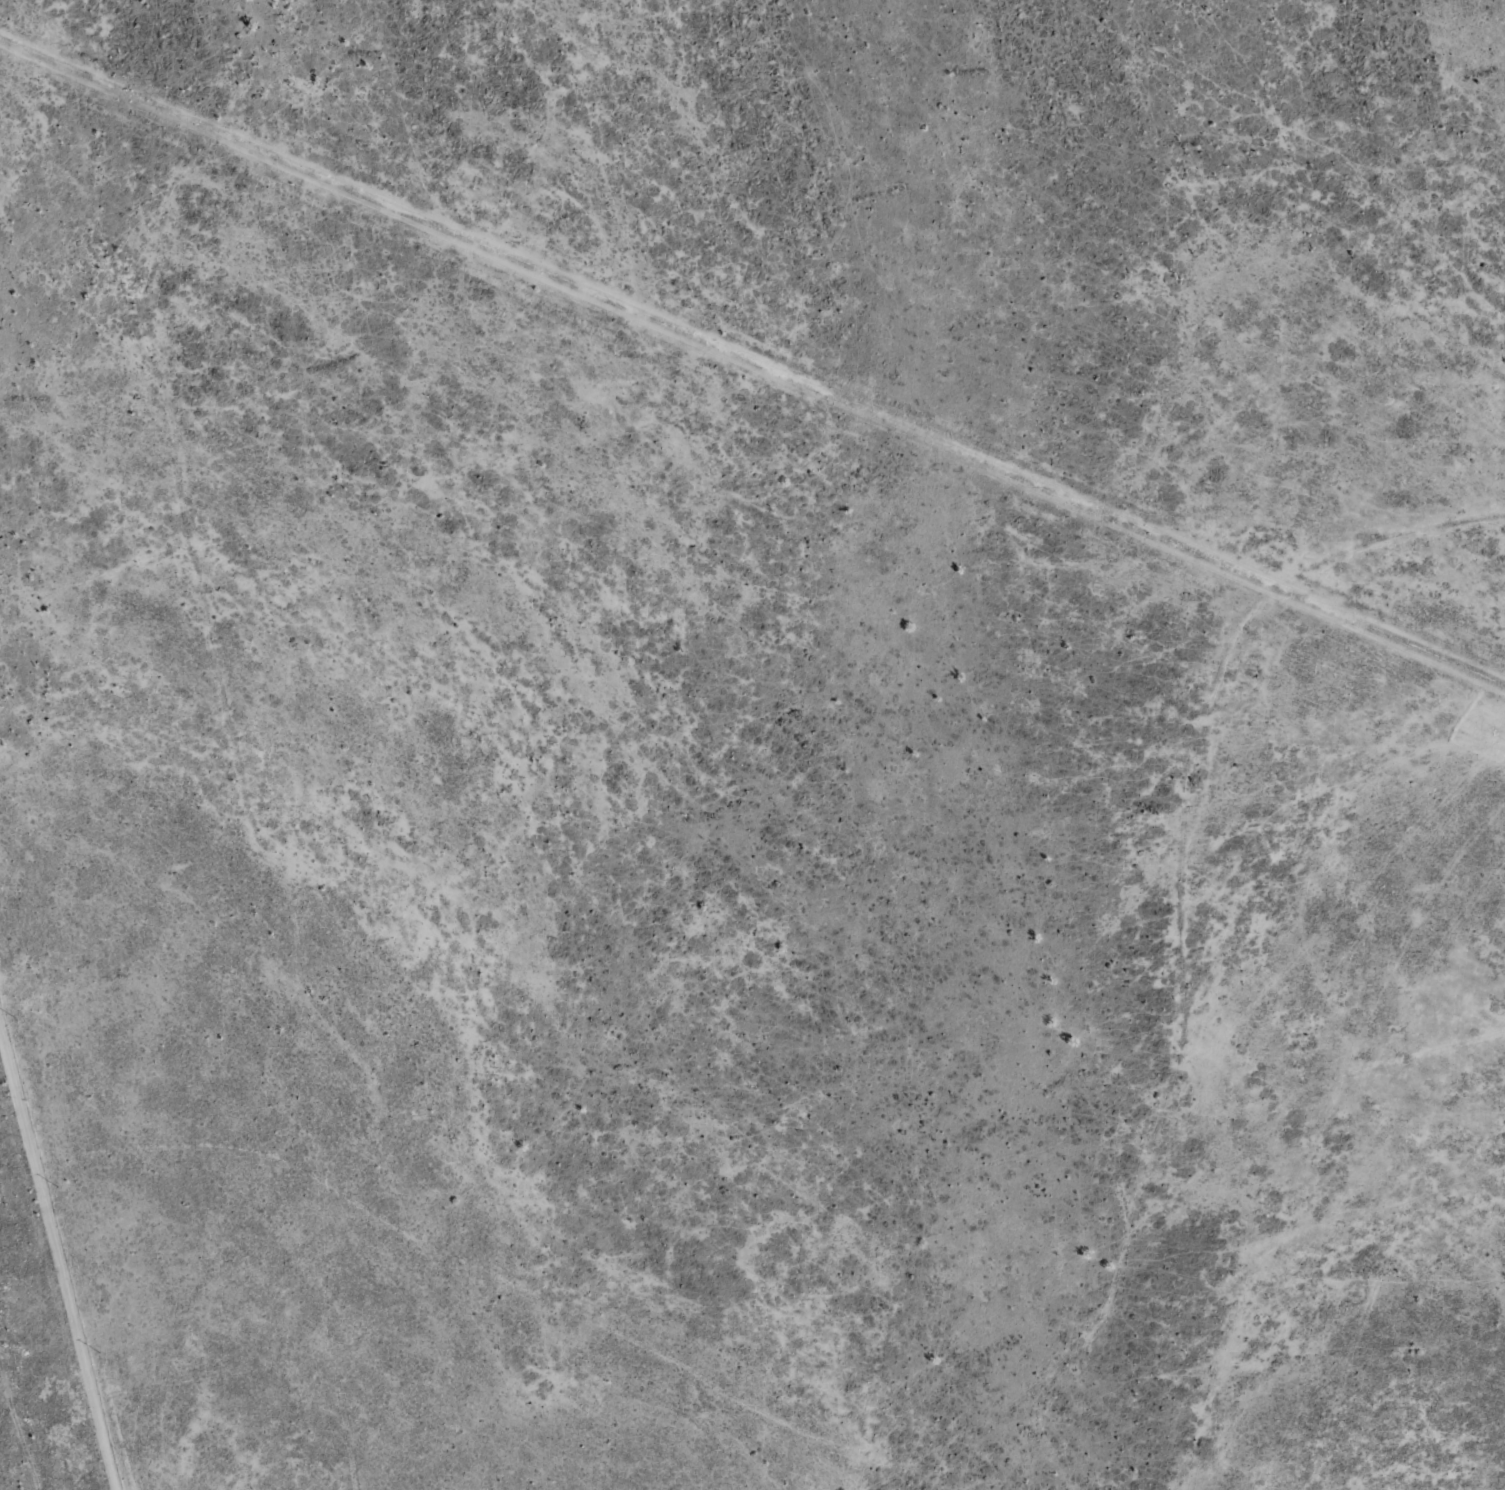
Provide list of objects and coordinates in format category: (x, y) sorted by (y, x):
road: (300, 772)
road: (1137, 960)

